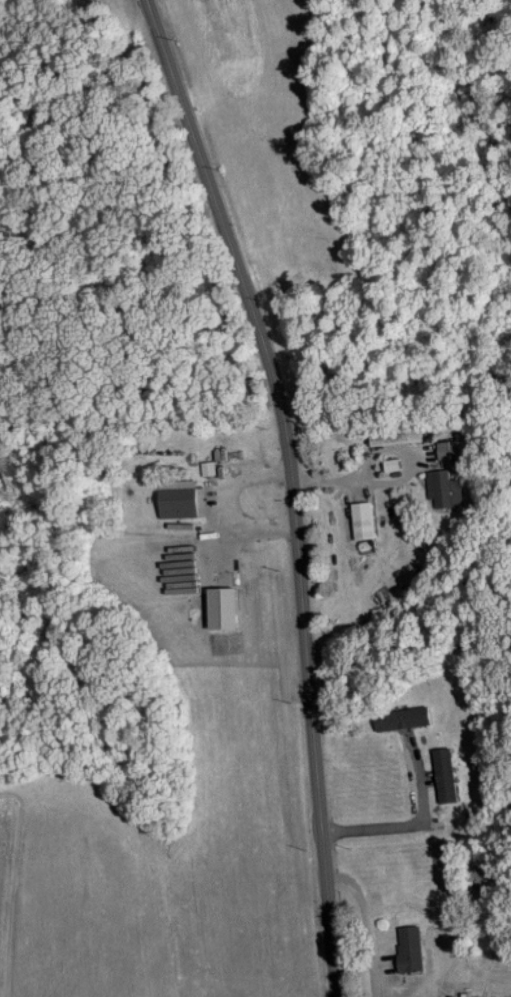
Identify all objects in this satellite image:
building: (447, 449)
building: (206, 466)
building: (440, 485)
road: (290, 487)
building: (177, 497)
building: (359, 519)
building: (217, 606)
building: (398, 717)
building: (441, 773)
building: (406, 947)

